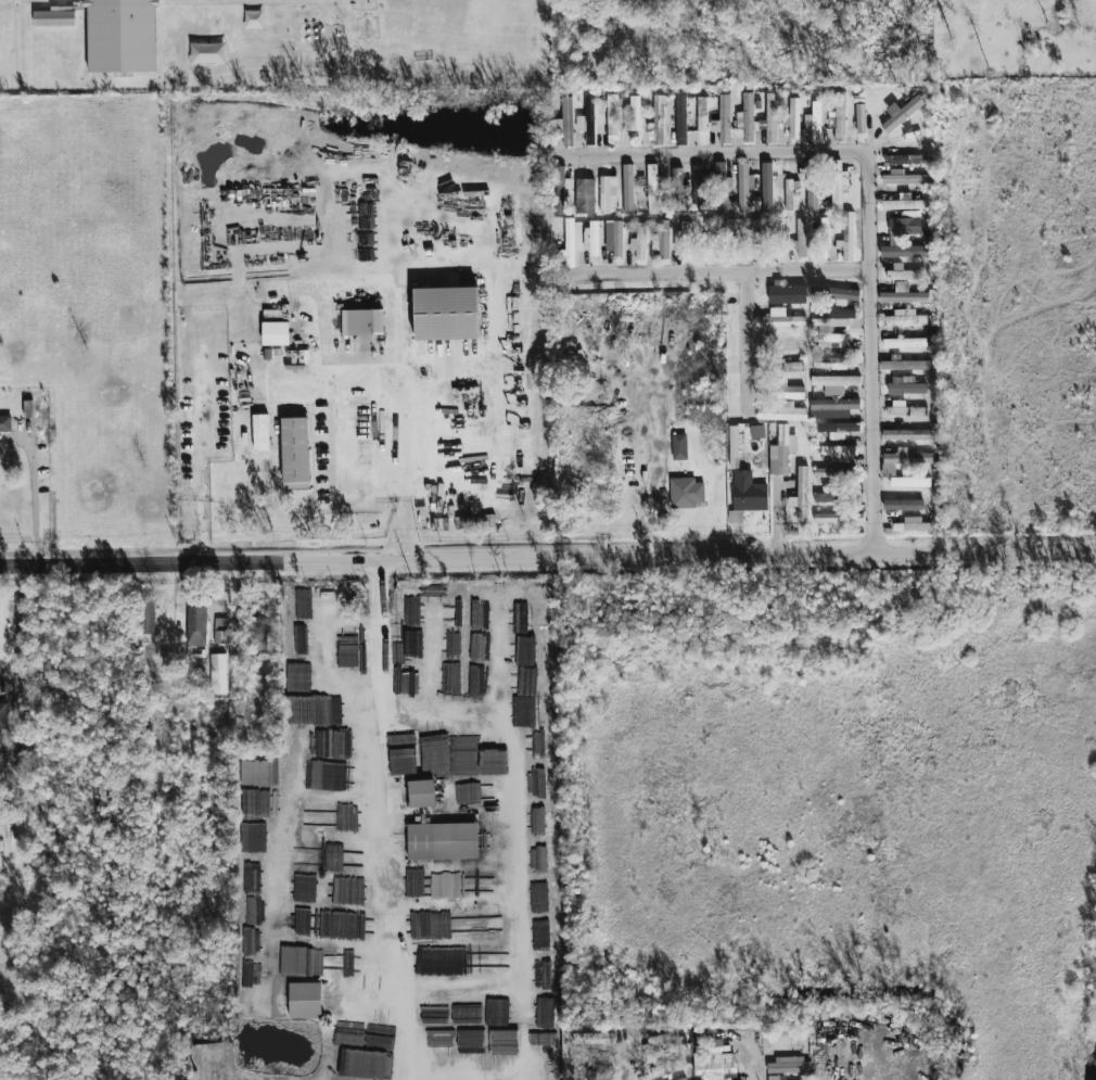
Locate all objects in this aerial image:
building: (55, 16)
building: (120, 36)
building: (901, 113)
building: (633, 114)
building: (701, 114)
building: (840, 116)
building: (770, 117)
building: (793, 117)
building: (612, 118)
building: (745, 118)
building: (861, 118)
building: (658, 119)
building: (680, 119)
building: (587, 120)
building: (723, 120)
building: (564, 122)
building: (812, 125)
building: (904, 160)
building: (719, 173)
building: (902, 178)
building: (812, 185)
building: (838, 185)
building: (744, 186)
building: (766, 187)
building: (627, 189)
building: (652, 189)
building: (678, 189)
building: (560, 190)
building: (608, 193)
building: (790, 193)
building: (585, 195)
road: (402, 198)
building: (756, 203)
building: (899, 204)
road: (854, 205)
building: (905, 226)
building: (709, 236)
building: (780, 236)
building: (848, 236)
building: (613, 237)
building: (731, 237)
building: (755, 237)
building: (801, 237)
building: (594, 238)
building: (824, 238)
building: (684, 239)
building: (662, 240)
building: (639, 242)
building: (568, 244)
building: (903, 249)
building: (743, 253)
building: (905, 272)
road: (706, 282)
building: (787, 293)
building: (834, 293)
building: (903, 294)
building: (446, 313)
building: (834, 315)
building: (905, 318)
building: (779, 319)
building: (362, 321)
building: (276, 333)
building: (829, 340)
building: (905, 342)
building: (781, 345)
road: (729, 354)
building: (830, 357)
building: (905, 364)
building: (787, 366)
building: (838, 366)
building: (834, 383)
building: (905, 385)
road: (400, 386)
building: (785, 391)
building: (832, 407)
building: (28, 408)
building: (904, 409)
building: (781, 414)
building: (5, 423)
building: (838, 427)
building: (756, 431)
building: (260, 432)
building: (907, 434)
building: (839, 435)
building: (679, 446)
road: (200, 449)
building: (294, 449)
building: (781, 450)
building: (839, 450)
building: (902, 460)
road: (658, 469)
building: (833, 472)
building: (907, 479)
building: (802, 491)
building: (687, 493)
building: (750, 496)
building: (828, 497)
road: (35, 500)
building: (838, 519)
road: (547, 556)
building: (245, 598)
building: (148, 615)
building: (521, 618)
road: (17, 625)
building: (196, 625)
building: (221, 631)
building: (257, 633)
road: (381, 633)
building: (218, 674)
building: (525, 711)
road: (14, 712)
building: (3, 715)
building: (260, 774)
building: (421, 793)
building: (323, 818)
building: (442, 841)
road: (384, 893)
building: (293, 960)
building: (330, 963)
building: (305, 1001)
building: (665, 1043)
building: (727, 1063)
road: (630, 1065)
building: (676, 1065)
building: (789, 1065)
road: (872, 1066)
road: (752, 1070)
building: (596, 1076)
building: (776, 1077)
building: (804, 1077)
building: (683, 1079)

